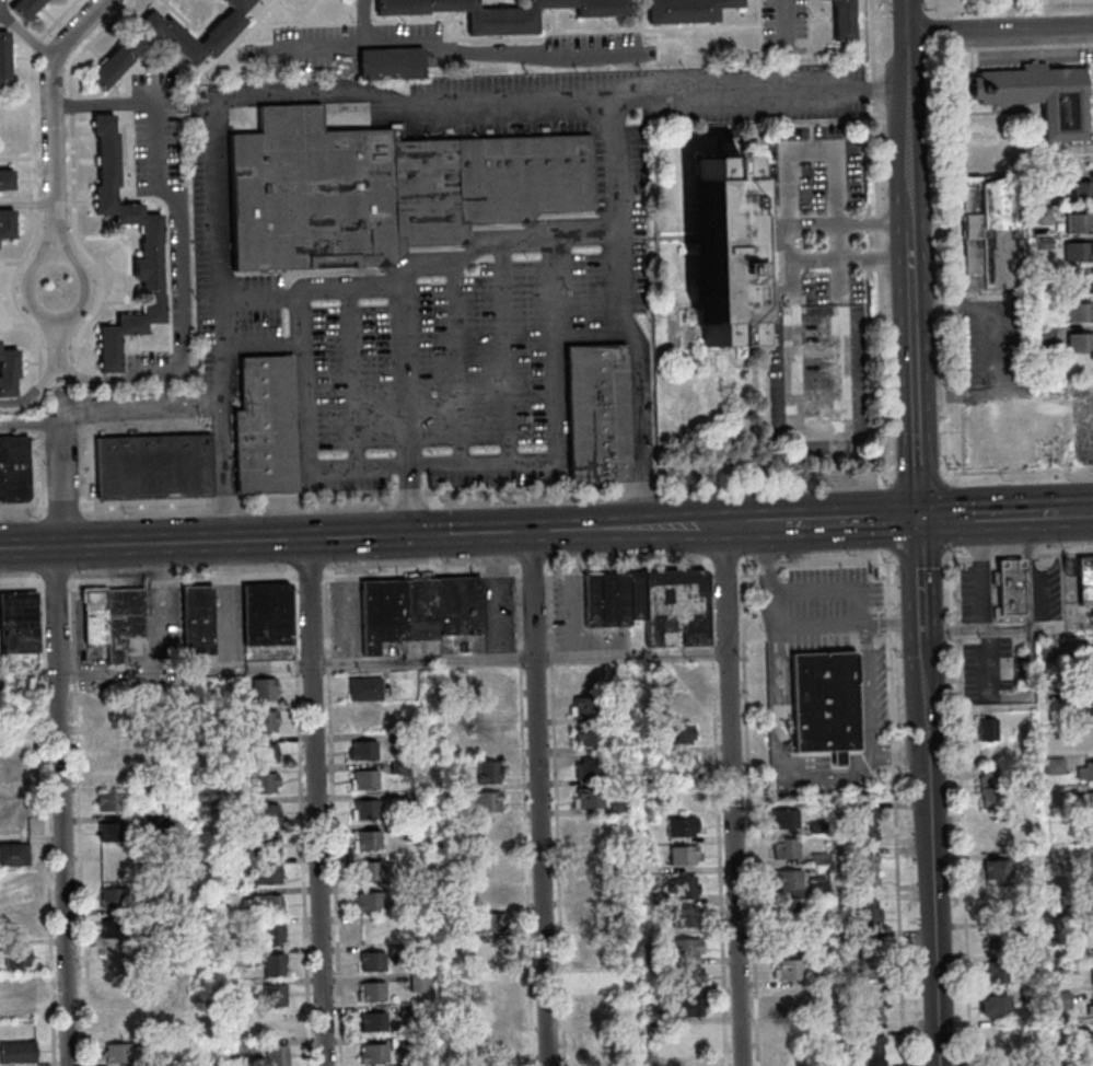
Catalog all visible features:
road: (101, 1)
parking lot: (2, 3)
road: (1018, 5)
road: (942, 7)
building: (25, 8)
road: (2, 9)
building: (688, 10)
building: (502, 12)
road: (58, 19)
building: (844, 20)
road: (362, 21)
road: (363, 22)
parking lot: (781, 22)
road: (314, 23)
road: (783, 24)
road: (761, 26)
road: (195, 27)
road: (807, 28)
road: (944, 28)
road: (999, 28)
road: (556, 30)
road: (26, 37)
building: (170, 40)
parking lot: (333, 42)
road: (85, 43)
road: (348, 43)
parking lot: (596, 43)
road: (37, 44)
road: (1019, 44)
road: (789, 47)
road: (443, 48)
road: (596, 53)
road: (498, 55)
building: (5, 58)
building: (392, 62)
parking lot: (679, 90)
building: (1039, 97)
road: (71, 104)
road: (103, 104)
road: (51, 111)
road: (212, 120)
road: (32, 125)
road: (155, 128)
parking lot: (160, 130)
building: (7, 179)
building: (1044, 183)
building: (385, 188)
building: (1082, 189)
road: (16, 197)
road: (34, 205)
road: (27, 206)
road: (950, 212)
building: (1043, 215)
building: (1079, 221)
building: (7, 222)
building: (991, 231)
road: (592, 236)
building: (151, 241)
road: (877, 241)
building: (1044, 243)
road: (772, 245)
building: (1078, 250)
road: (84, 251)
building: (723, 251)
road: (907, 259)
road: (78, 263)
building: (1044, 274)
building: (1081, 281)
road: (309, 291)
road: (619, 294)
road: (13, 299)
road: (996, 303)
building: (1080, 311)
parking lot: (442, 326)
road: (838, 335)
building: (1046, 335)
road: (591, 336)
parking lot: (995, 340)
building: (1080, 341)
road: (260, 345)
road: (554, 349)
road: (505, 352)
road: (58, 354)
road: (456, 360)
parking lot: (815, 360)
building: (9, 372)
road: (183, 373)
road: (352, 378)
road: (303, 380)
road: (1003, 390)
road: (958, 392)
road: (63, 402)
road: (142, 405)
building: (597, 413)
road: (32, 424)
building: (266, 425)
parking lot: (1082, 429)
road: (640, 439)
road: (962, 442)
road: (430, 464)
building: (154, 465)
building: (14, 467)
road: (1015, 470)
road: (916, 472)
road: (65, 476)
road: (775, 480)
road: (643, 488)
road: (524, 490)
road: (408, 493)
road: (317, 497)
road: (224, 500)
road: (434, 500)
street lamp: (603, 501)
road: (146, 503)
road: (61, 507)
road: (23, 510)
street lamp: (382, 510)
road: (1070, 513)
road: (958, 514)
road: (981, 515)
road: (885, 517)
traffic signals: (917, 519)
road: (856, 520)
street lamp: (31, 521)
road: (432, 534)
road: (397, 535)
traffic signals: (410, 535)
road: (1063, 548)
road: (1027, 551)
road: (1004, 554)
street lamp: (644, 555)
road: (979, 555)
street lamp: (744, 556)
road: (919, 557)
road: (949, 557)
road: (962, 557)
road: (836, 560)
road: (766, 563)
street lamp: (442, 564)
road: (724, 564)
road: (747, 564)
road: (432, 566)
street lamp: (254, 567)
street lamp: (336, 567)
road: (628, 568)
street lamp: (126, 569)
street lamp: (196, 569)
road: (488, 570)
road: (507, 570)
road: (530, 570)
road: (1042, 570)
road: (399, 571)
road: (980, 572)
street lamp: (80, 575)
road: (307, 575)
building: (1083, 577)
road: (181, 579)
road: (887, 580)
road: (21, 584)
road: (55, 584)
building: (1008, 584)
road: (827, 589)
road: (766, 594)
road: (490, 595)
building: (608, 596)
road: (349, 600)
parking lot: (827, 603)
building: (673, 604)
road: (710, 604)
building: (419, 609)
road: (548, 609)
road: (516, 611)
building: (266, 613)
road: (325, 615)
road: (293, 616)
building: (197, 618)
road: (848, 619)
road: (888, 619)
building: (18, 621)
building: (116, 621)
parking lot: (498, 623)
road: (1005, 627)
building: (1045, 647)
road: (711, 650)
road: (550, 656)
road: (518, 657)
road: (488, 659)
building: (1089, 662)
road: (327, 663)
road: (295, 664)
road: (147, 669)
building: (678, 673)
building: (585, 677)
building: (486, 679)
building: (449, 686)
building: (364, 687)
building: (264, 688)
building: (163, 698)
building: (822, 703)
building: (1089, 703)
building: (585, 705)
building: (681, 705)
building: (239, 707)
building: (106, 709)
building: (488, 709)
building: (265, 720)
building: (451, 721)
building: (987, 729)
building: (683, 733)
building: (1053, 734)
building: (589, 735)
building: (486, 740)
building: (1090, 740)
building: (111, 741)
building: (406, 742)
building: (362, 749)
building: (265, 751)
building: (447, 751)
road: (897, 751)
building: (136, 758)
building: (400, 762)
building: (682, 765)
building: (1055, 765)
building: (589, 768)
building: (108, 769)
building: (226, 769)
building: (1084, 769)
building: (488, 772)
building: (644, 774)
building: (364, 778)
road: (822, 778)
building: (265, 781)
building: (991, 787)
building: (148, 789)
road: (928, 791)
building: (415, 795)
road: (731, 795)
road: (537, 798)
building: (588, 798)
building: (109, 800)
building: (1089, 800)
road: (314, 801)
building: (489, 801)
building: (219, 803)
road: (61, 806)
road: (961, 806)
building: (364, 809)
building: (837, 810)
building: (267, 812)
building: (156, 814)
road: (748, 814)
building: (863, 815)
building: (786, 818)
building: (1025, 820)
road: (78, 824)
road: (45, 825)
building: (591, 825)
building: (682, 825)
building: (818, 825)
building: (1092, 830)
building: (113, 832)
building: (412, 832)
building: (489, 832)
building: (863, 832)
building: (993, 832)
building: (367, 839)
building: (449, 842)
building: (267, 843)
building: (786, 847)
road: (895, 847)
building: (14, 854)
building: (684, 854)
building: (819, 857)
building: (113, 858)
building: (1092, 859)
building: (490, 861)
building: (864, 861)
road: (719, 862)
road: (525, 865)
road: (557, 865)
building: (220, 866)
building: (999, 867)
road: (334, 868)
road: (302, 869)
building: (370, 869)
building: (269, 873)
building: (864, 877)
building: (787, 878)
building: (817, 885)
building: (1090, 885)
building: (687, 887)
building: (592, 888)
building: (491, 892)
building: (654, 892)
building: (113, 896)
building: (620, 897)
building: (368, 901)
building: (841, 902)
building: (268, 903)
building: (1055, 905)
building: (864, 906)
building: (788, 907)
building: (1090, 913)
building: (687, 916)
building: (596, 918)
building: (864, 920)
building: (15, 922)
building: (491, 922)
building: (1026, 925)
building: (113, 927)
building: (151, 932)
building: (456, 932)
building: (272, 934)
building: (998, 935)
building: (790, 938)
building: (687, 947)
building: (596, 948)
building: (821, 949)
building: (865, 952)
building: (18, 955)
building: (234, 957)
building: (115, 960)
building: (372, 960)
building: (1027, 960)
building: (274, 962)
building: (1071, 963)
building: (865, 967)
building: (790, 969)
building: (998, 972)
building: (1092, 974)
building: (690, 975)
building: (595, 980)
building: (419, 982)
building: (822, 982)
building: (654, 984)
building: (628, 986)
building: (23, 989)
building: (116, 989)
building: (372, 990)
building: (276, 994)
building: (151, 995)
building: (868, 997)
building: (1030, 997)
building: (791, 998)
building: (1062, 998)
building: (1090, 1003)
building: (689, 1005)
building: (996, 1005)
building: (596, 1009)
building: (653, 1012)
building: (868, 1012)
building: (628, 1013)
building: (115, 1020)
building: (373, 1021)
building: (276, 1024)
building: (1062, 1026)
building: (1092, 1031)
building: (687, 1038)
building: (598, 1039)
building: (870, 1041)
building: (999, 1041)
building: (498, 1042)
building: (246, 1046)
building: (659, 1050)
building: (18, 1051)
building: (119, 1052)
building: (373, 1052)
building: (461, 1053)
building: (171, 1055)
building: (277, 1055)
building: (792, 1057)
building: (870, 1057)
building: (690, 1062)
building: (825, 1062)
building: (411, 1063)
building: (601, 1064)
building: (499, 1065)
building: (1003, 1065)

